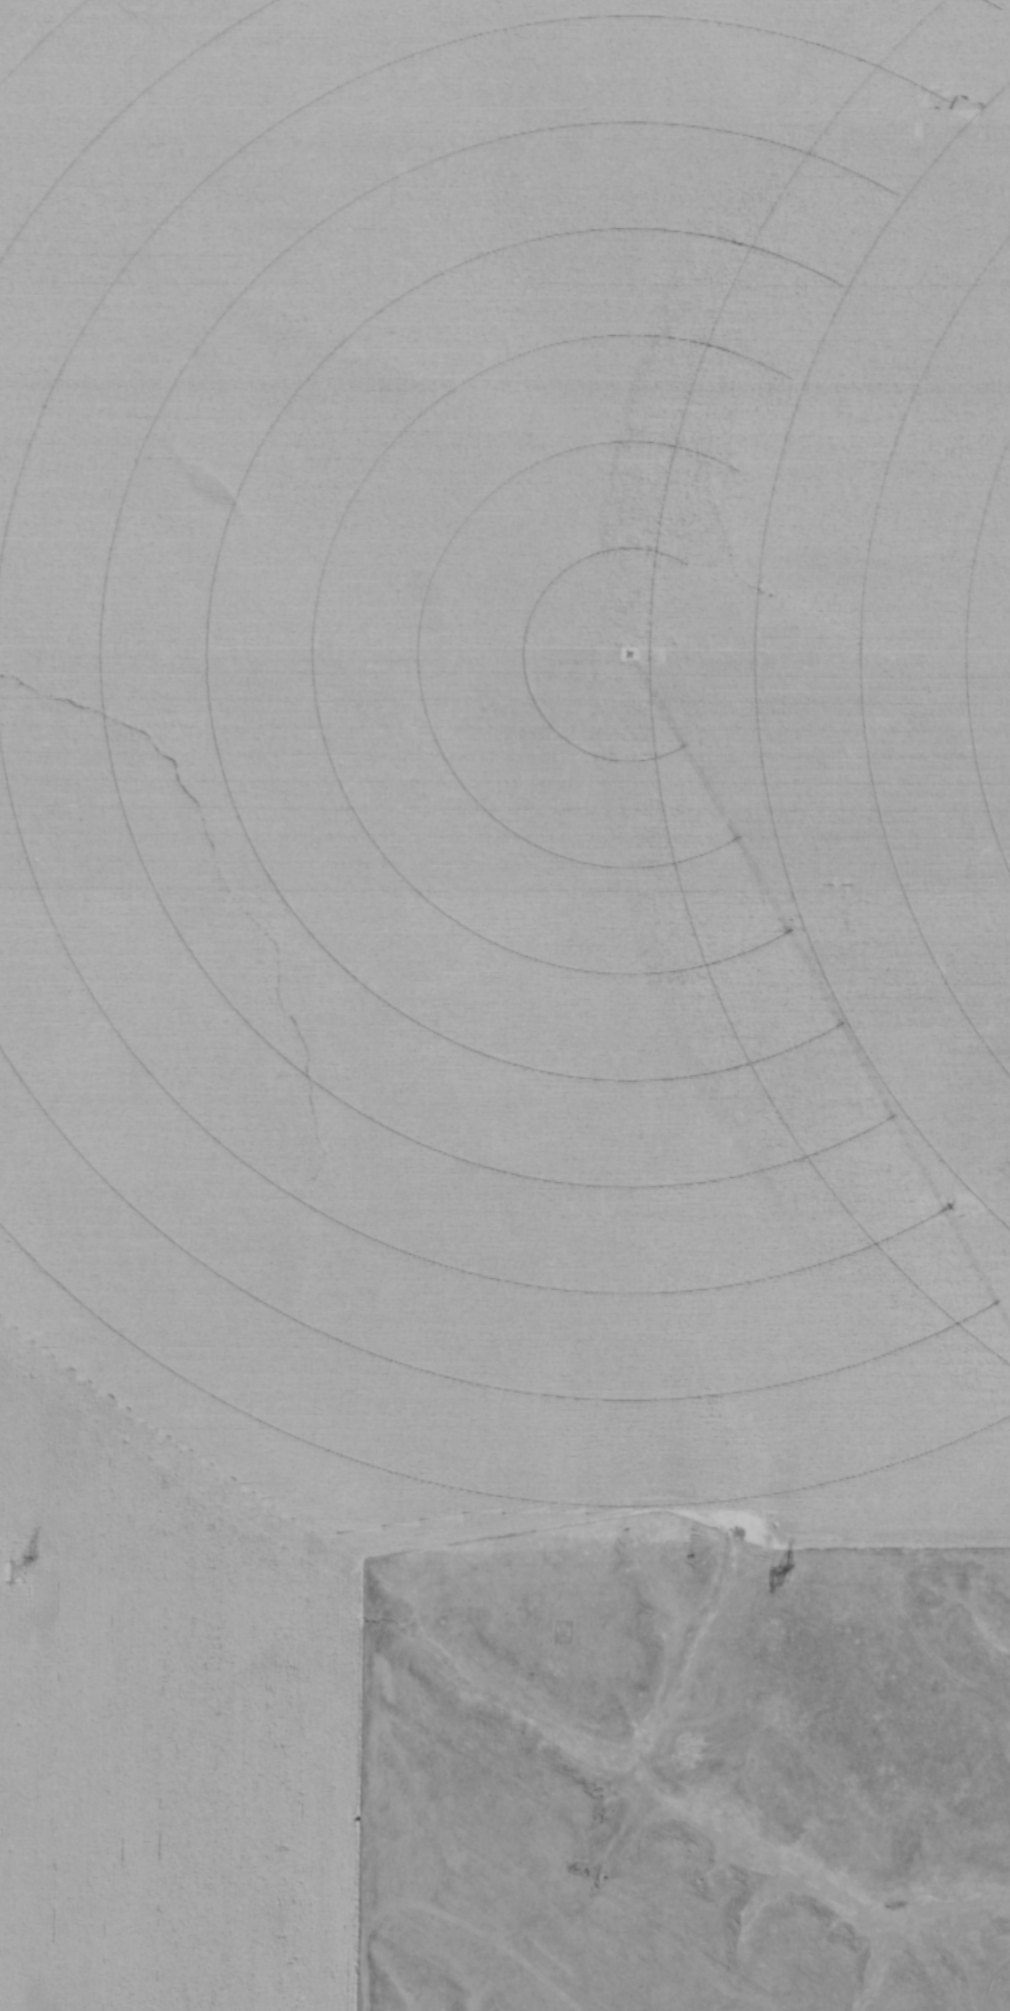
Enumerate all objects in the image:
building: (999, 1170)
power tower: (14, 1572)
power tower: (770, 1580)

